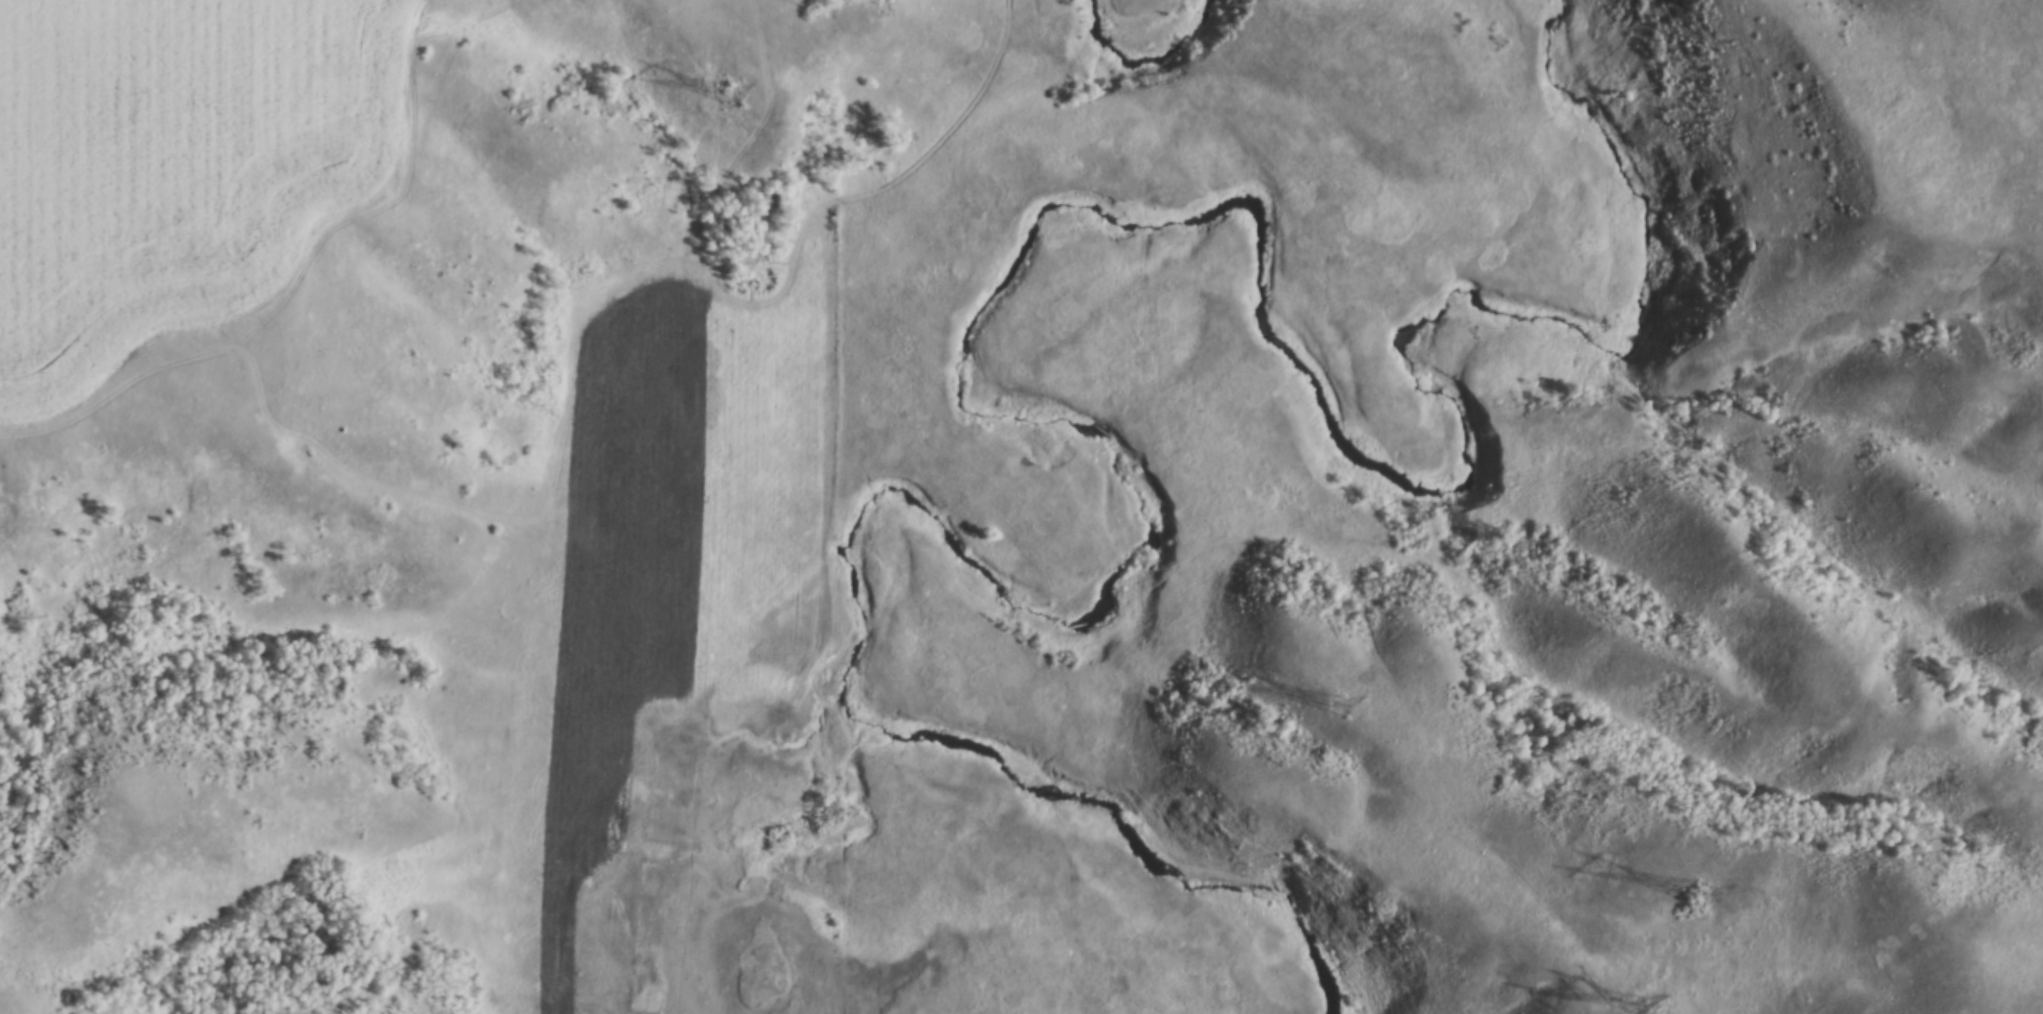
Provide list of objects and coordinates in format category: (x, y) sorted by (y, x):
power tower: (786, 3)
power tower: (714, 97)
road: (922, 176)
power tower: (1324, 715)
power tower: (1685, 923)
power tower: (1626, 1011)

